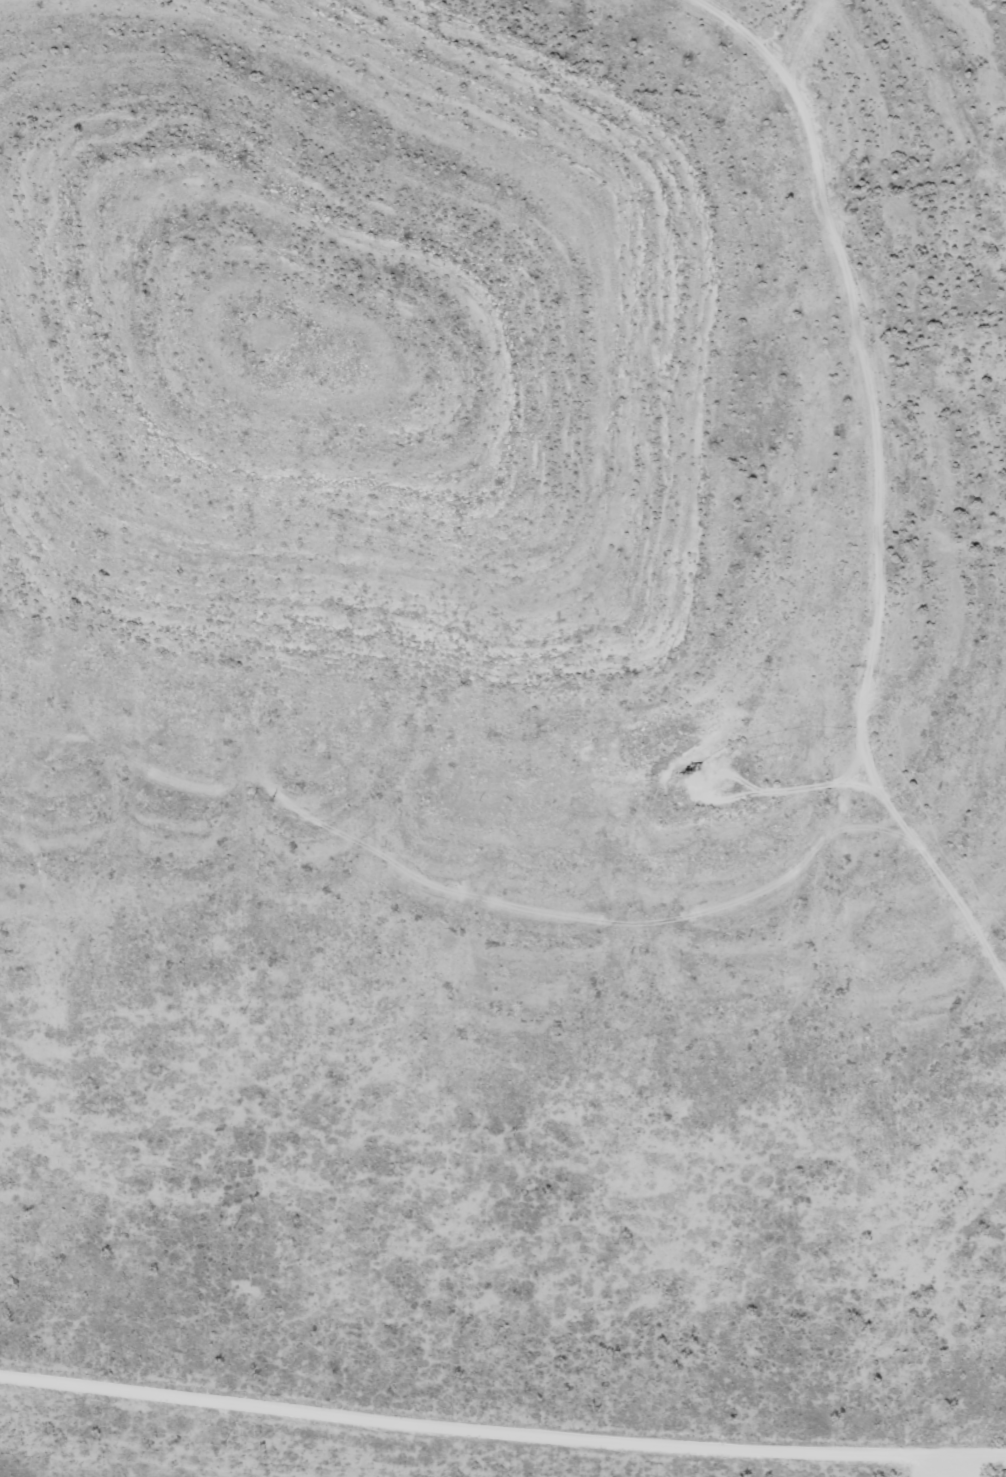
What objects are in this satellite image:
road: (888, 444)
road: (502, 1413)

